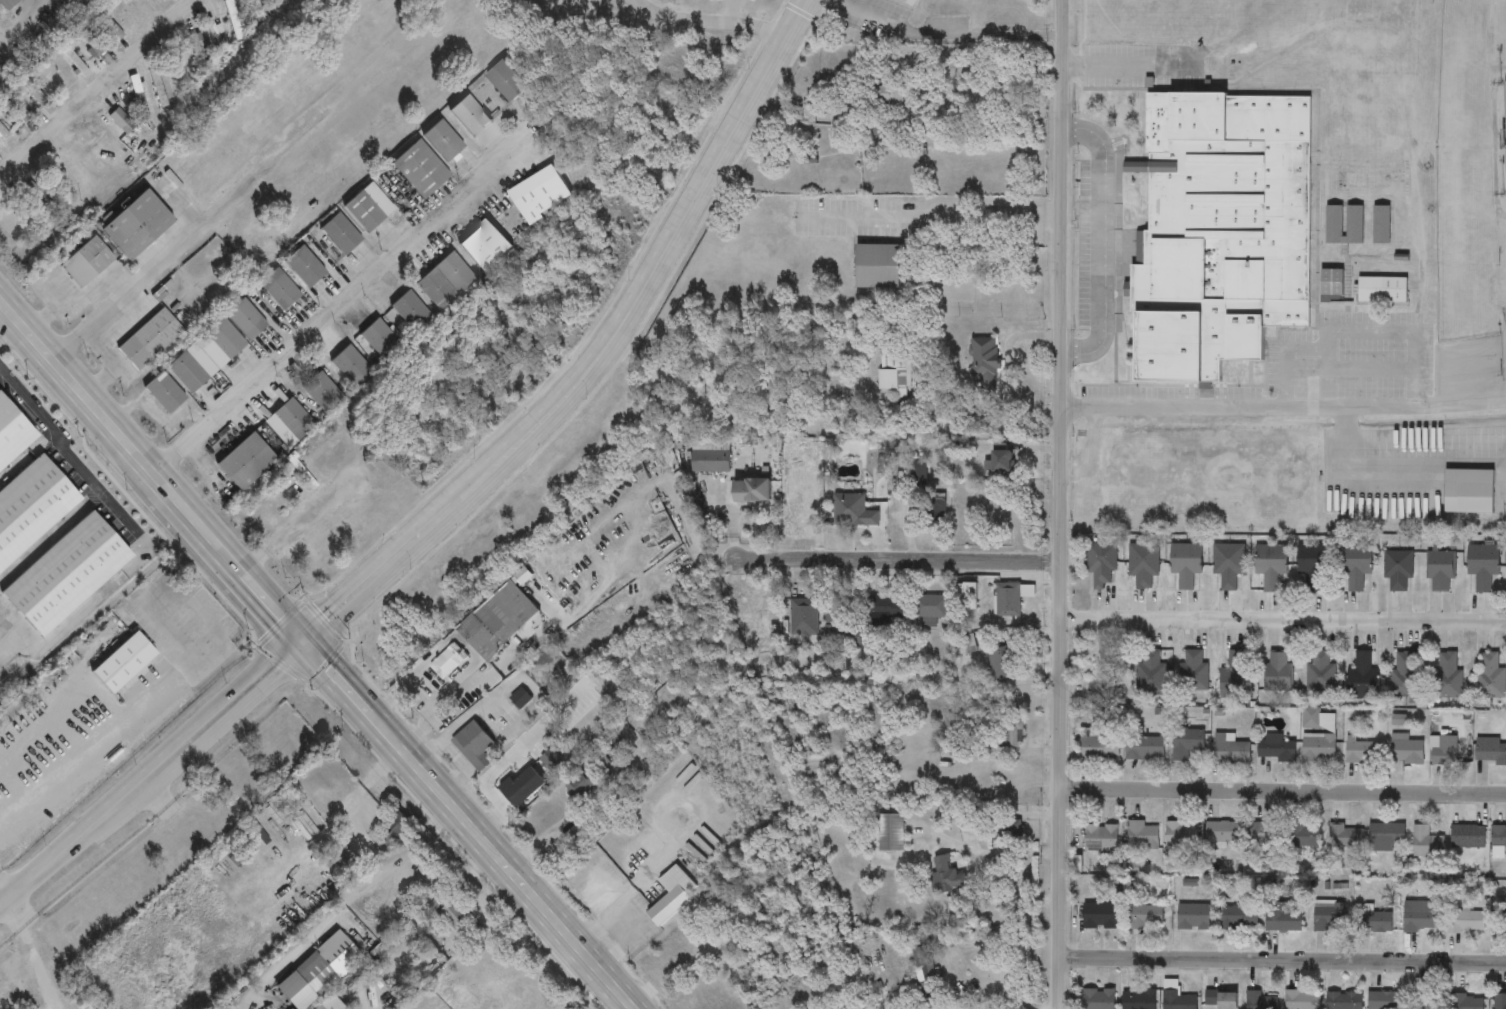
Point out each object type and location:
building: (279, 1)
road: (585, 6)
building: (1358, 6)
road: (740, 11)
building: (1406, 14)
road: (714, 22)
building: (213, 33)
road: (946, 34)
building: (195, 51)
road: (1127, 63)
building: (180, 70)
building: (506, 81)
building: (160, 85)
road: (88, 93)
building: (886, 94)
road: (950, 99)
building: (469, 115)
building: (441, 140)
building: (419, 168)
building: (539, 195)
building: (368, 207)
road: (930, 215)
building: (1334, 224)
building: (1354, 225)
building: (1381, 225)
building: (1222, 231)
road: (1099, 241)
building: (484, 245)
building: (877, 267)
road: (148, 272)
building: (445, 280)
building: (1332, 285)
building: (1382, 290)
road: (74, 294)
road: (343, 300)
building: (411, 311)
road: (5, 318)
road: (115, 343)
road: (602, 356)
building: (983, 365)
building: (893, 370)
road: (1007, 374)
road: (1284, 410)
building: (710, 461)
building: (1001, 463)
building: (751, 491)
building: (1475, 497)
road: (1060, 504)
building: (800, 510)
building: (849, 510)
building: (933, 513)
road: (299, 525)
road: (137, 530)
road: (898, 562)
building: (1100, 563)
building: (1185, 563)
building: (1142, 564)
building: (1313, 564)
building: (1355, 564)
building: (1228, 565)
building: (1270, 565)
building: (1483, 566)
building: (1397, 570)
building: (1440, 570)
building: (966, 595)
building: (1010, 598)
building: (884, 607)
building: (929, 609)
building: (802, 618)
building: (497, 620)
road: (1282, 621)
building: (841, 629)
traffic signals: (304, 641)
road: (316, 654)
building: (447, 661)
building: (1001, 663)
building: (1194, 671)
building: (1277, 673)
building: (1321, 673)
building: (1150, 674)
building: (1406, 676)
building: (1447, 676)
building: (1362, 678)
building: (1490, 678)
building: (1234, 679)
road: (503, 687)
building: (520, 699)
road: (418, 701)
building: (1009, 732)
building: (471, 742)
building: (1186, 743)
building: (1318, 747)
building: (1099, 748)
building: (1144, 749)
building: (1277, 749)
building: (1230, 750)
building: (1405, 750)
building: (1444, 751)
building: (1490, 752)
road: (80, 753)
building: (1360, 753)
road: (453, 756)
road: (506, 759)
road: (480, 761)
road: (151, 771)
road: (457, 781)
road: (1283, 790)
building: (1223, 832)
building: (890, 833)
building: (1263, 834)
building: (1181, 835)
building: (1141, 836)
building: (1304, 836)
building: (1387, 837)
building: (1468, 837)
building: (1498, 837)
building: (1100, 839)
building: (1345, 839)
building: (1426, 844)
road: (1009, 854)
building: (946, 875)
building: (671, 896)
road: (2, 897)
road: (356, 897)
building: (450, 912)
building: (1098, 916)
building: (1145, 917)
building: (1193, 917)
building: (1329, 917)
building: (1418, 917)
building: (1238, 918)
building: (1281, 919)
building: (1372, 921)
building: (1465, 922)
road: (625, 923)
road: (225, 935)
road: (30, 953)
road: (1281, 959)
building: (925, 967)
road: (993, 998)
building: (1098, 999)
building: (1176, 999)
building: (1221, 999)
building: (1138, 1000)
building: (1302, 1000)
building: (1260, 1001)
building: (1344, 1001)
building: (1385, 1001)
building: (1425, 1002)
building: (1466, 1002)
building: (1500, 1002)

